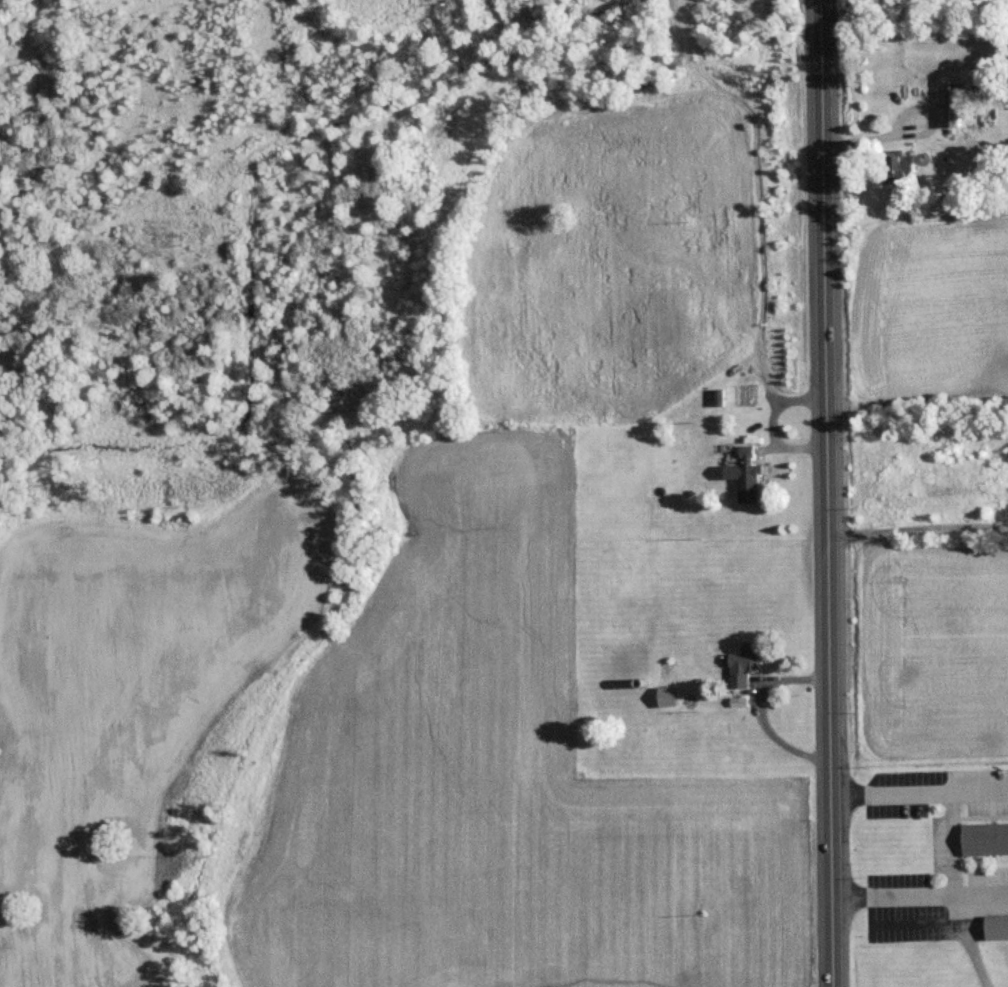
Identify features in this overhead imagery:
building: (962, 98)
road: (904, 114)
building: (902, 167)
building: (743, 465)
road: (829, 493)
road: (918, 527)
building: (630, 659)
building: (745, 662)
road: (761, 711)
road: (951, 834)
building: (985, 838)
road: (921, 899)
building: (997, 927)

